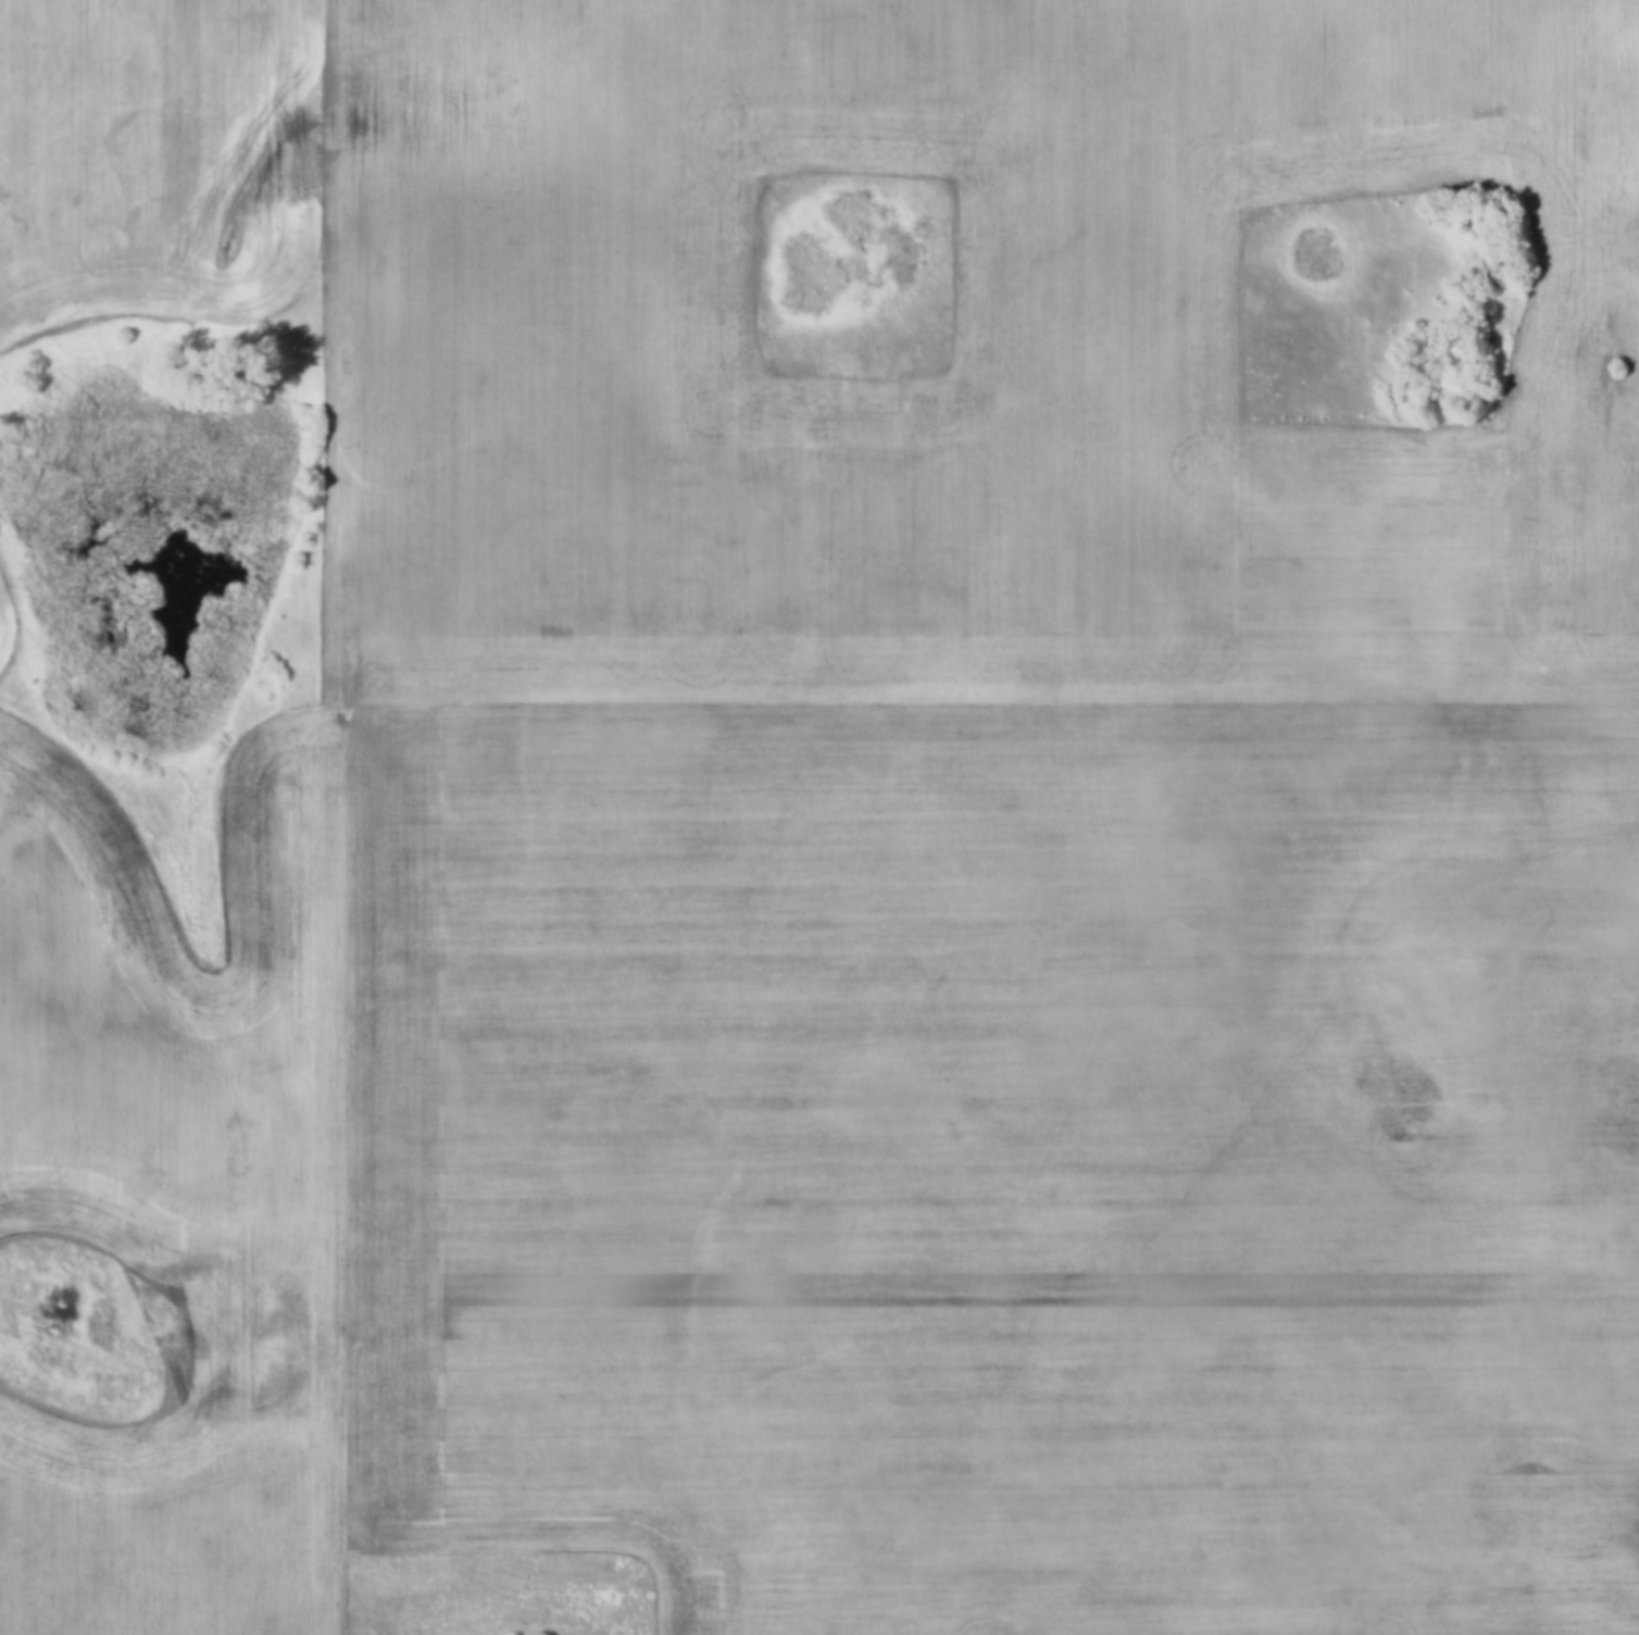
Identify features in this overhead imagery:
road: (318, 818)

